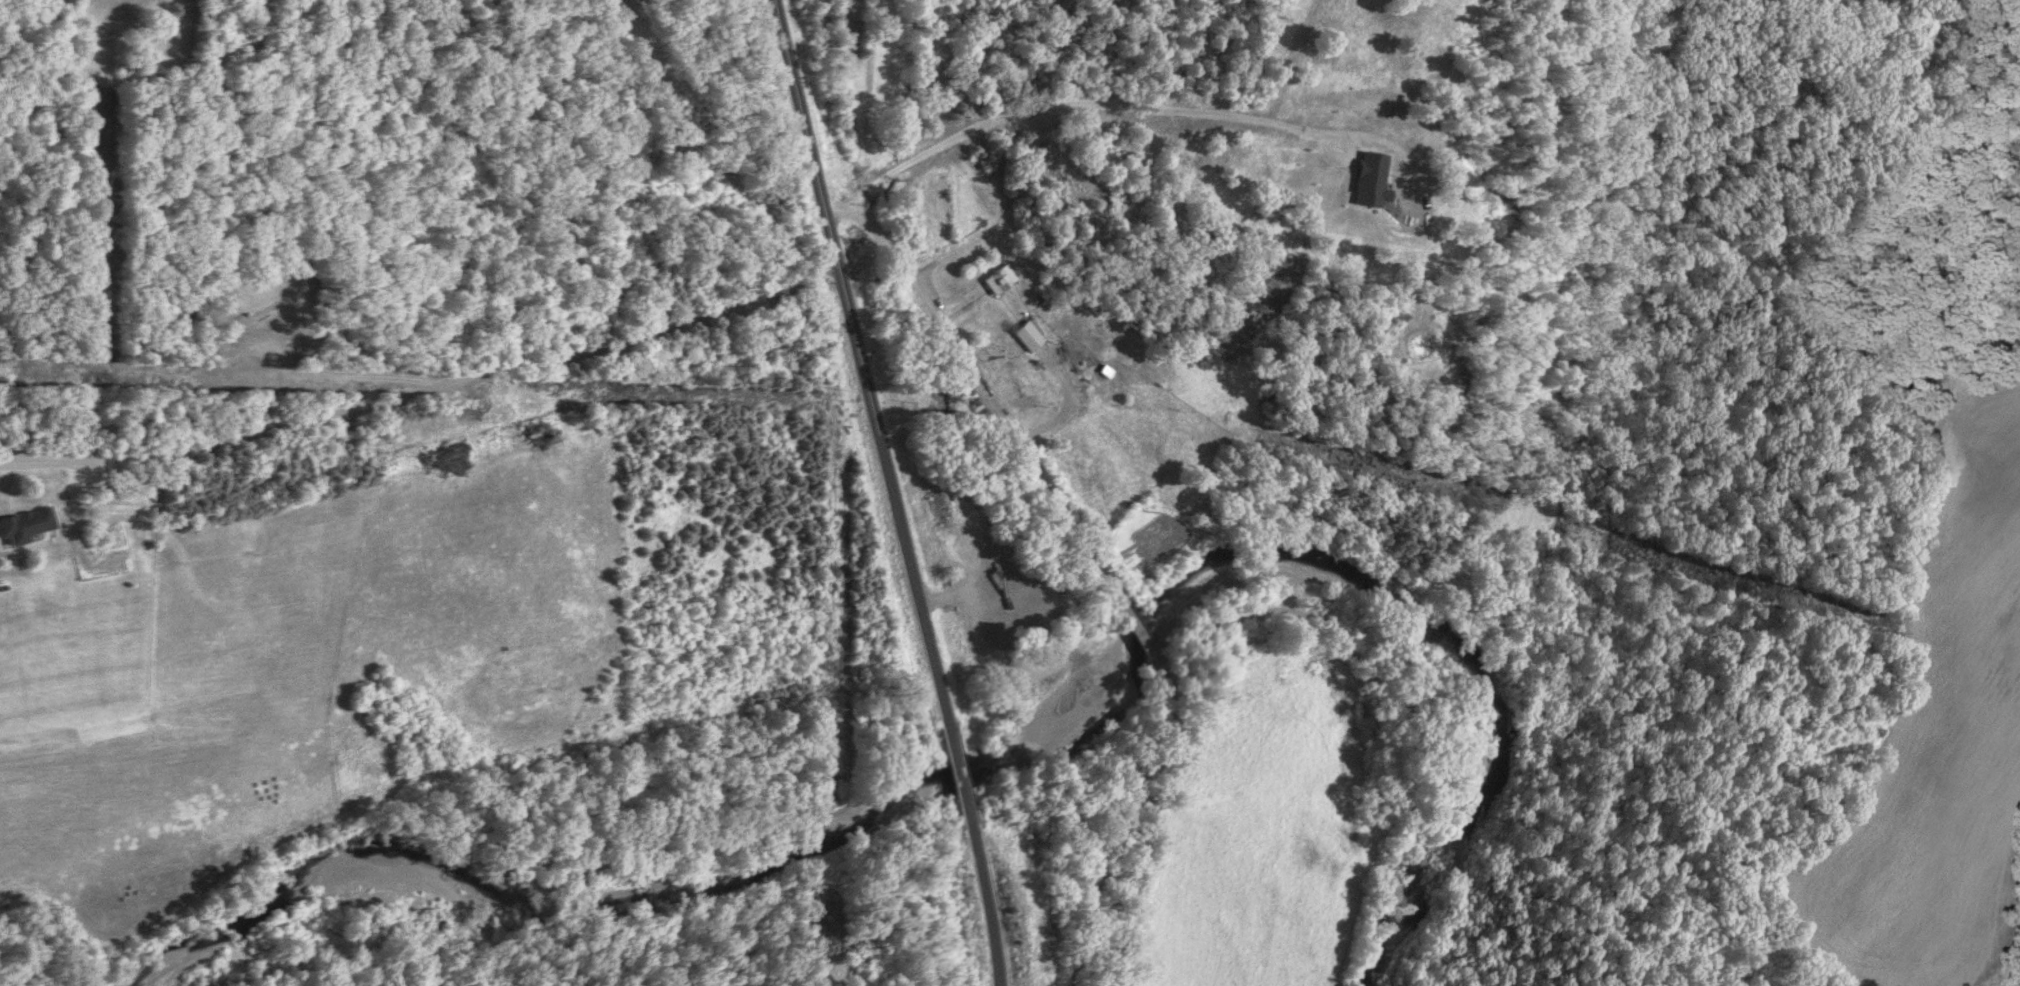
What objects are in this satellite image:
road: (1082, 103)
building: (1002, 281)
building: (1030, 337)
road: (960, 368)
building: (1120, 376)
road: (422, 390)
road: (888, 492)
building: (26, 525)

